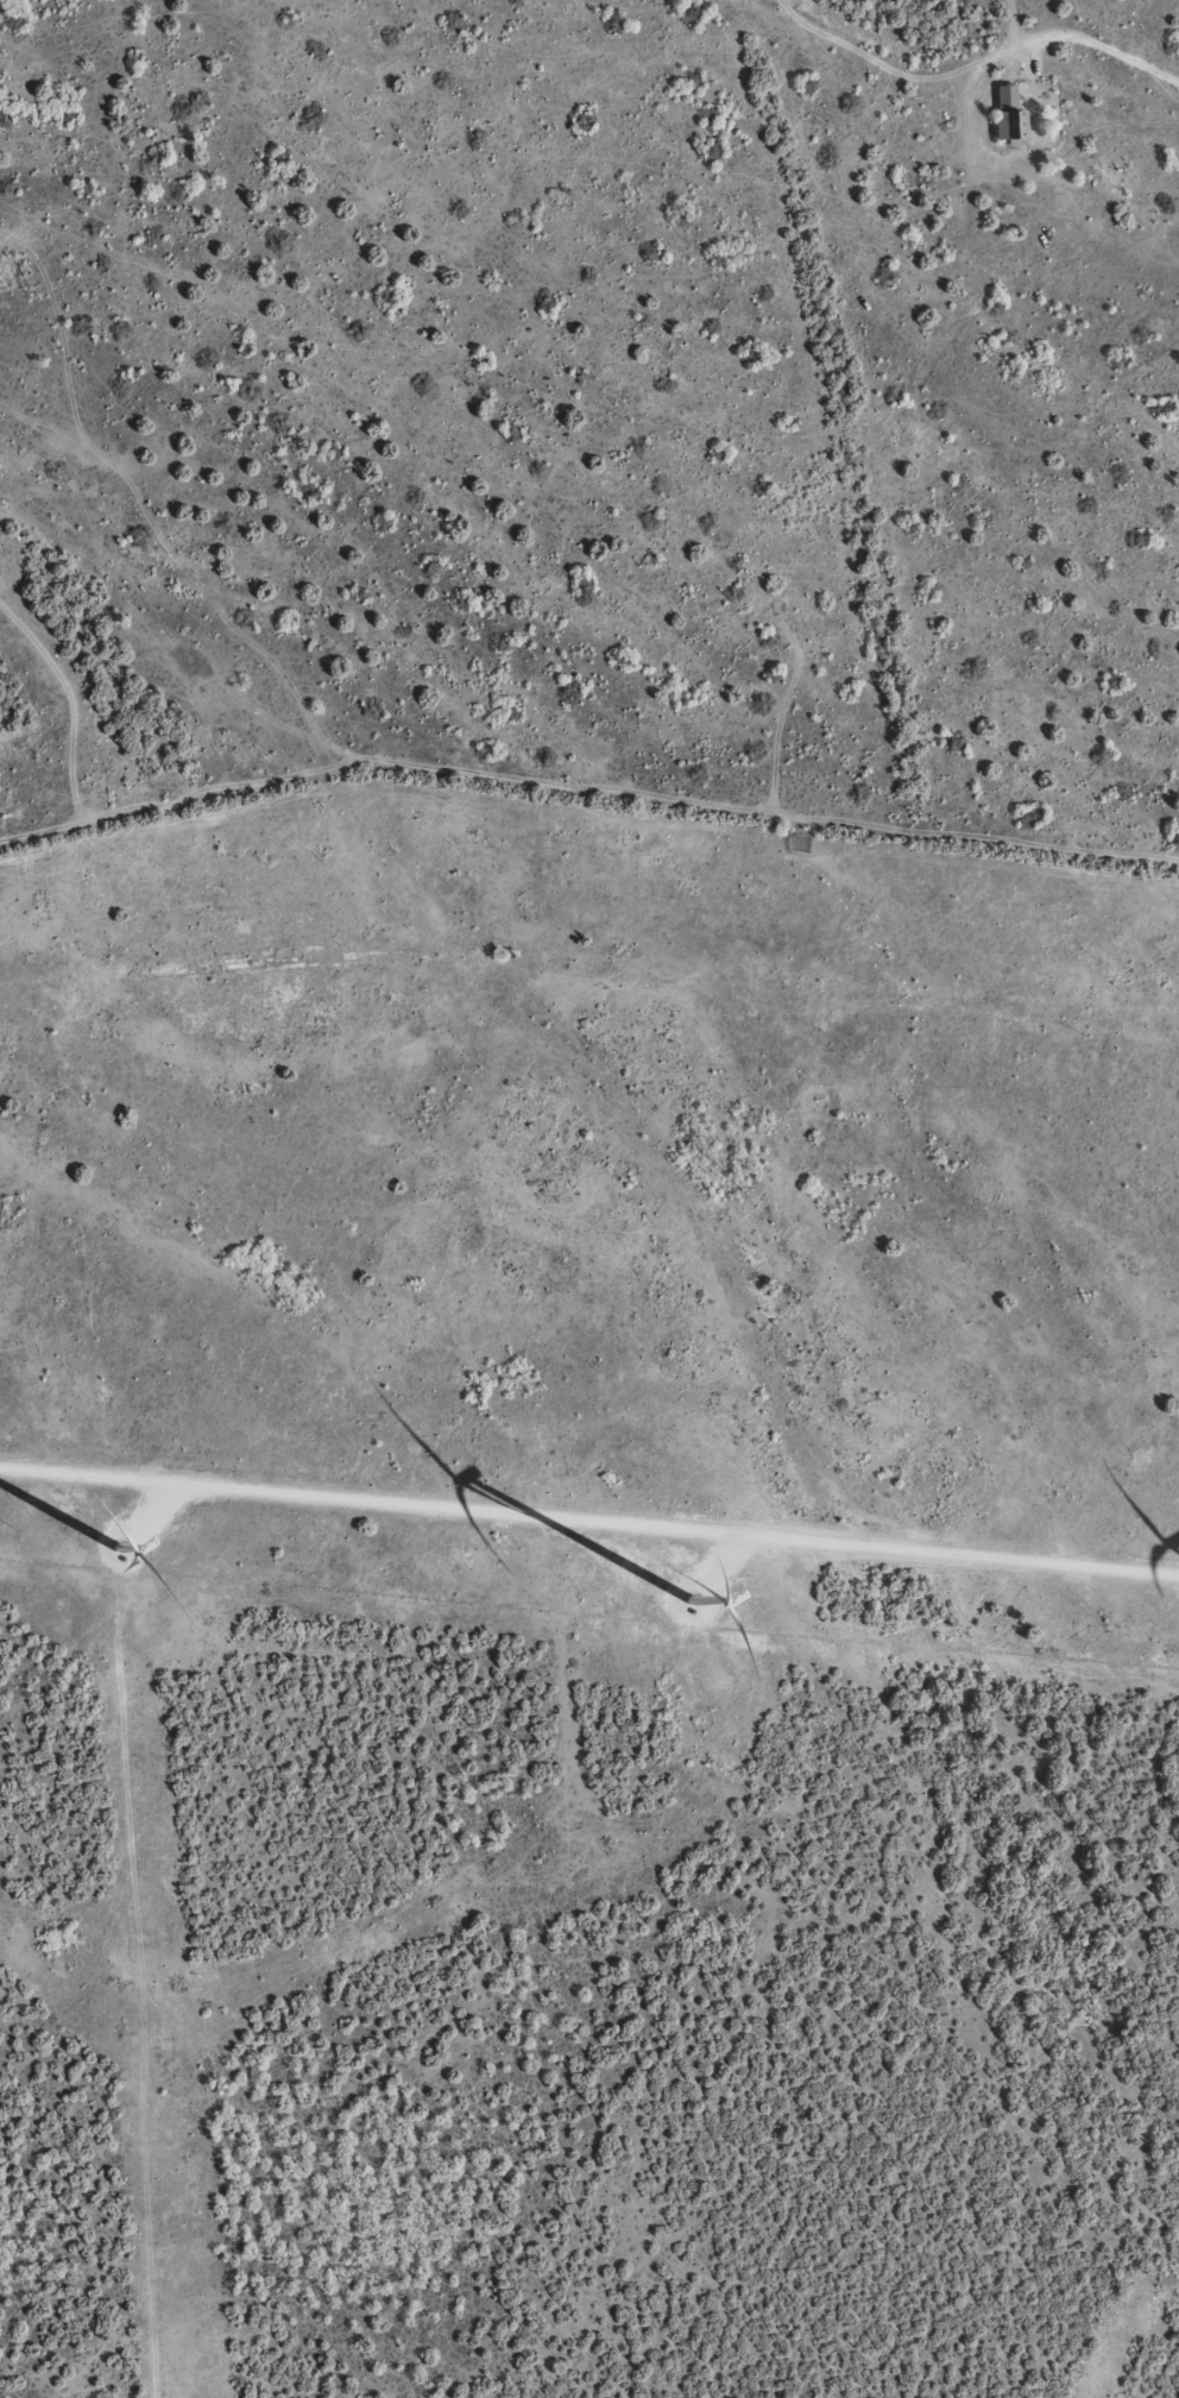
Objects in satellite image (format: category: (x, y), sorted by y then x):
building: (1008, 115)
road: (588, 1006)
road: (589, 1519)
wind turbine: (124, 1556)
wind turbine: (686, 1603)
road: (94, 2340)

